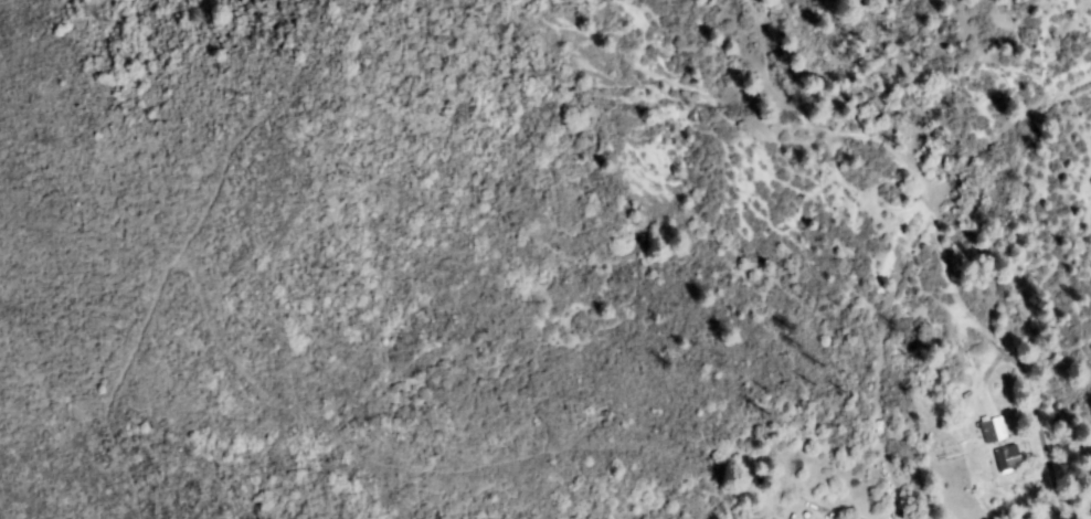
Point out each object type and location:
road: (910, 263)
building: (995, 432)
building: (1009, 460)
road: (1087, 464)

